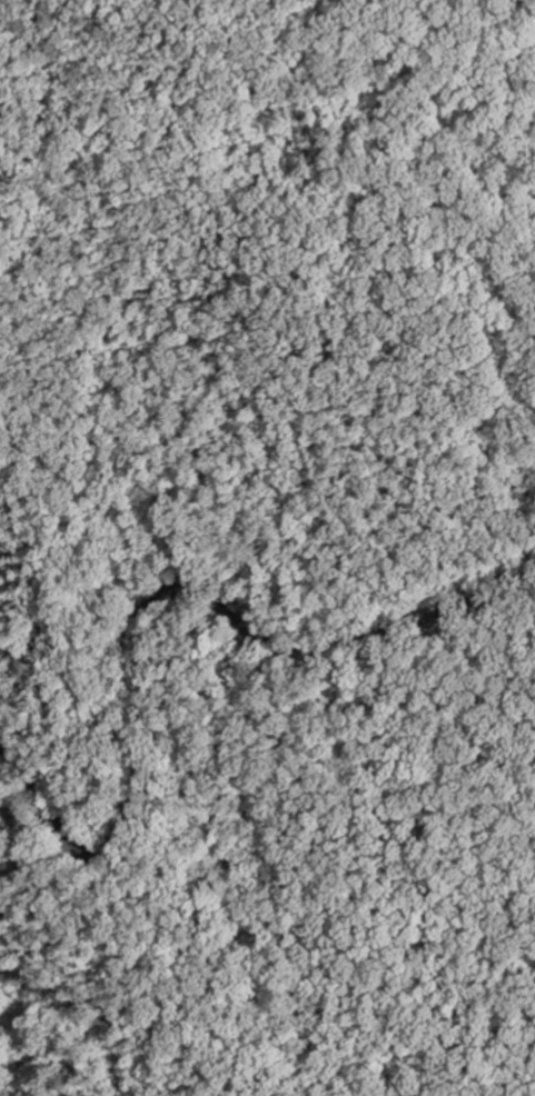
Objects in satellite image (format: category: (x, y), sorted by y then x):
road: (155, 602)

